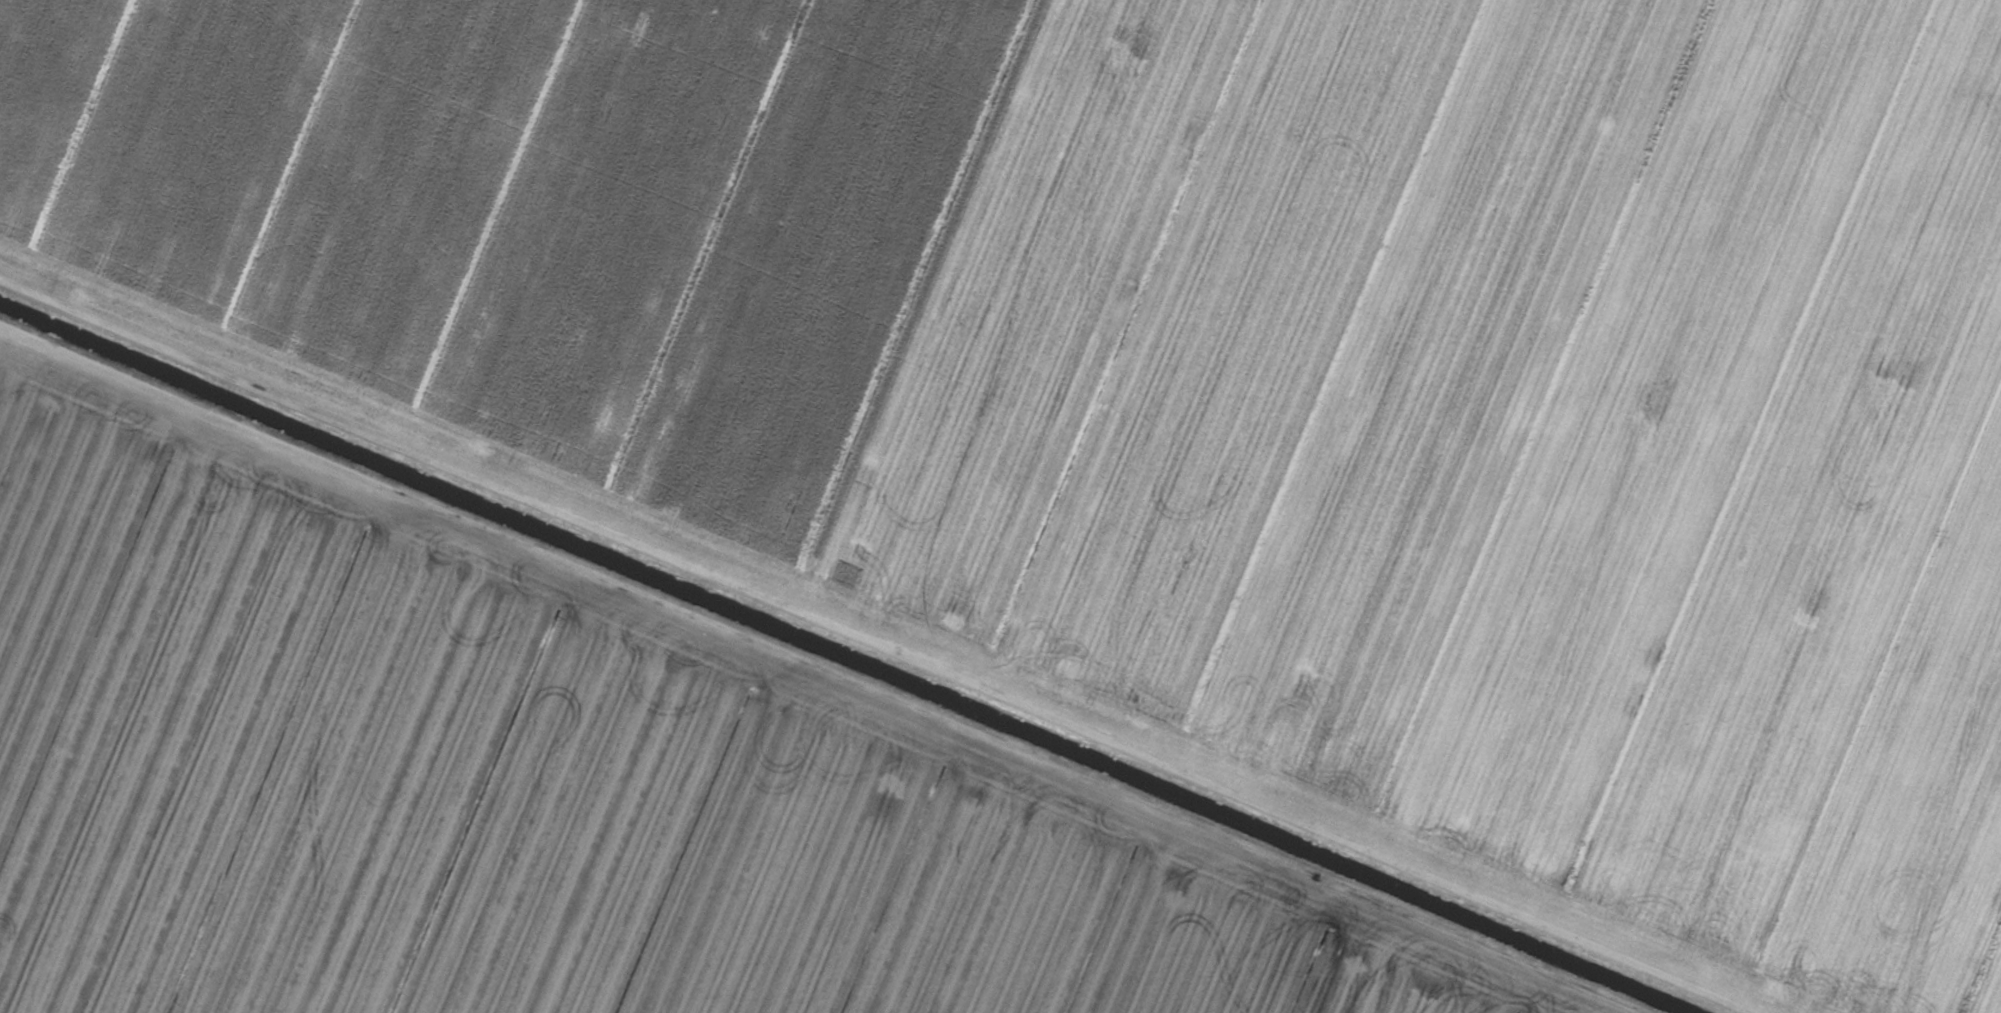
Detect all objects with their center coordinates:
crop: (1000, 506)

